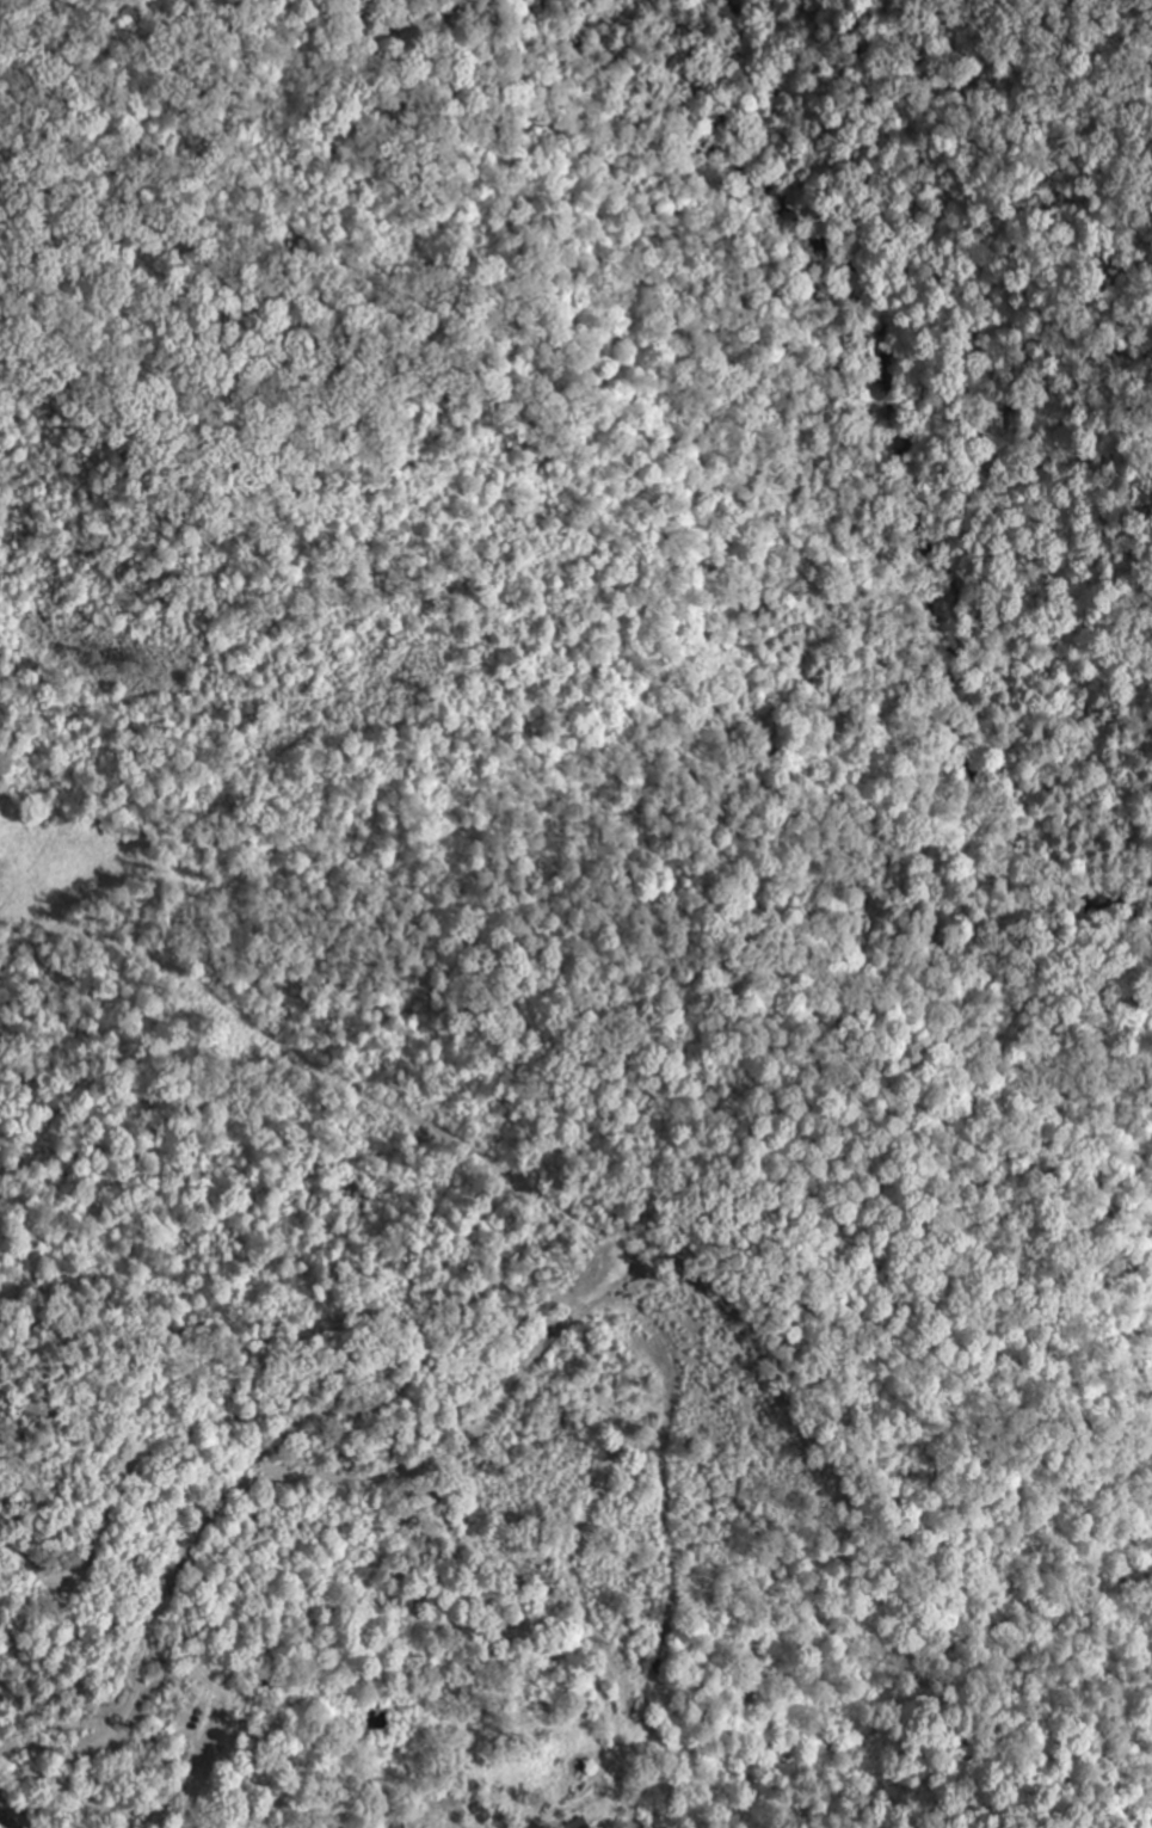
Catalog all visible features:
road: (670, 1681)
road: (8, 1820)

